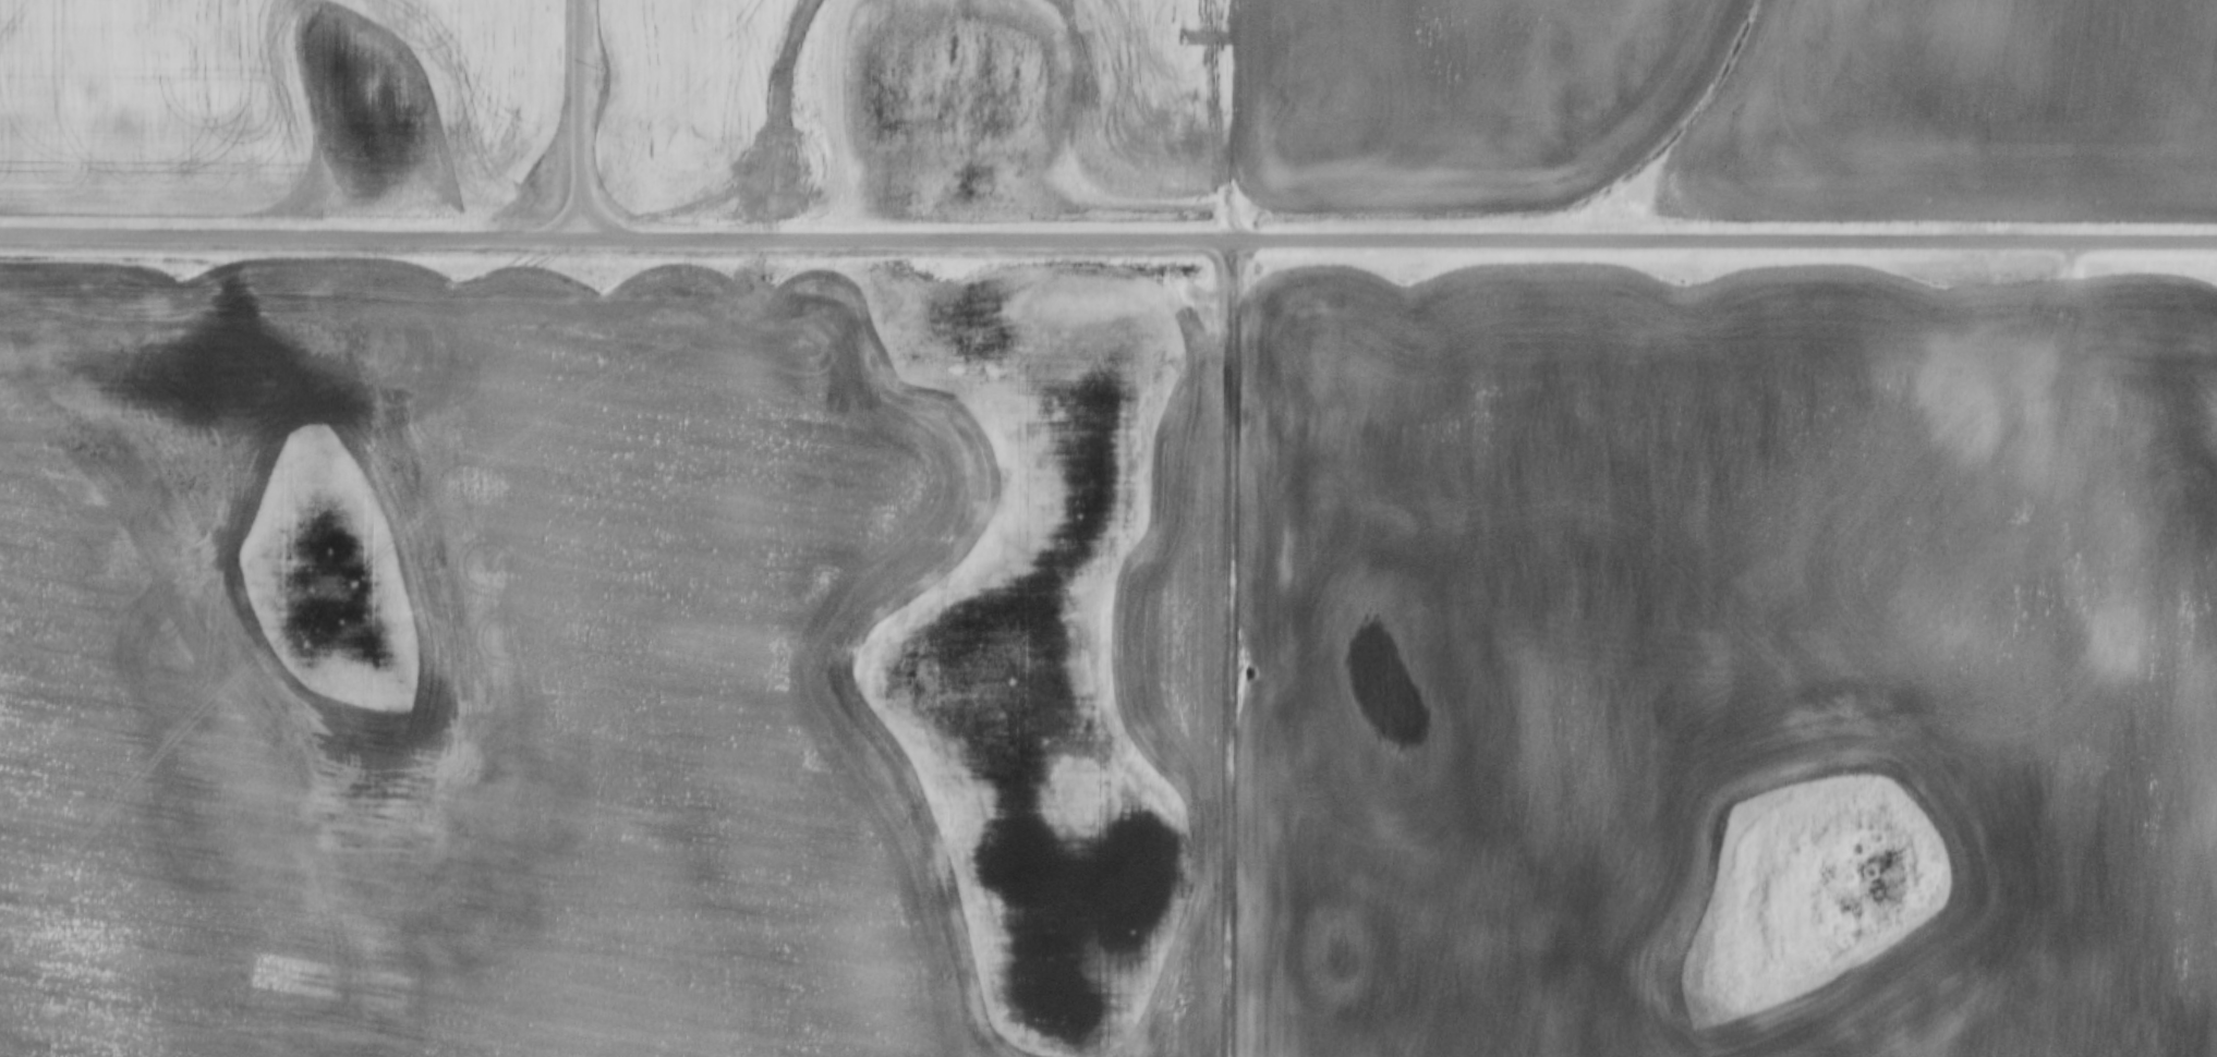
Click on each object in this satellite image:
road: (579, 119)
road: (1233, 119)
road: (1108, 238)
road: (1234, 647)

